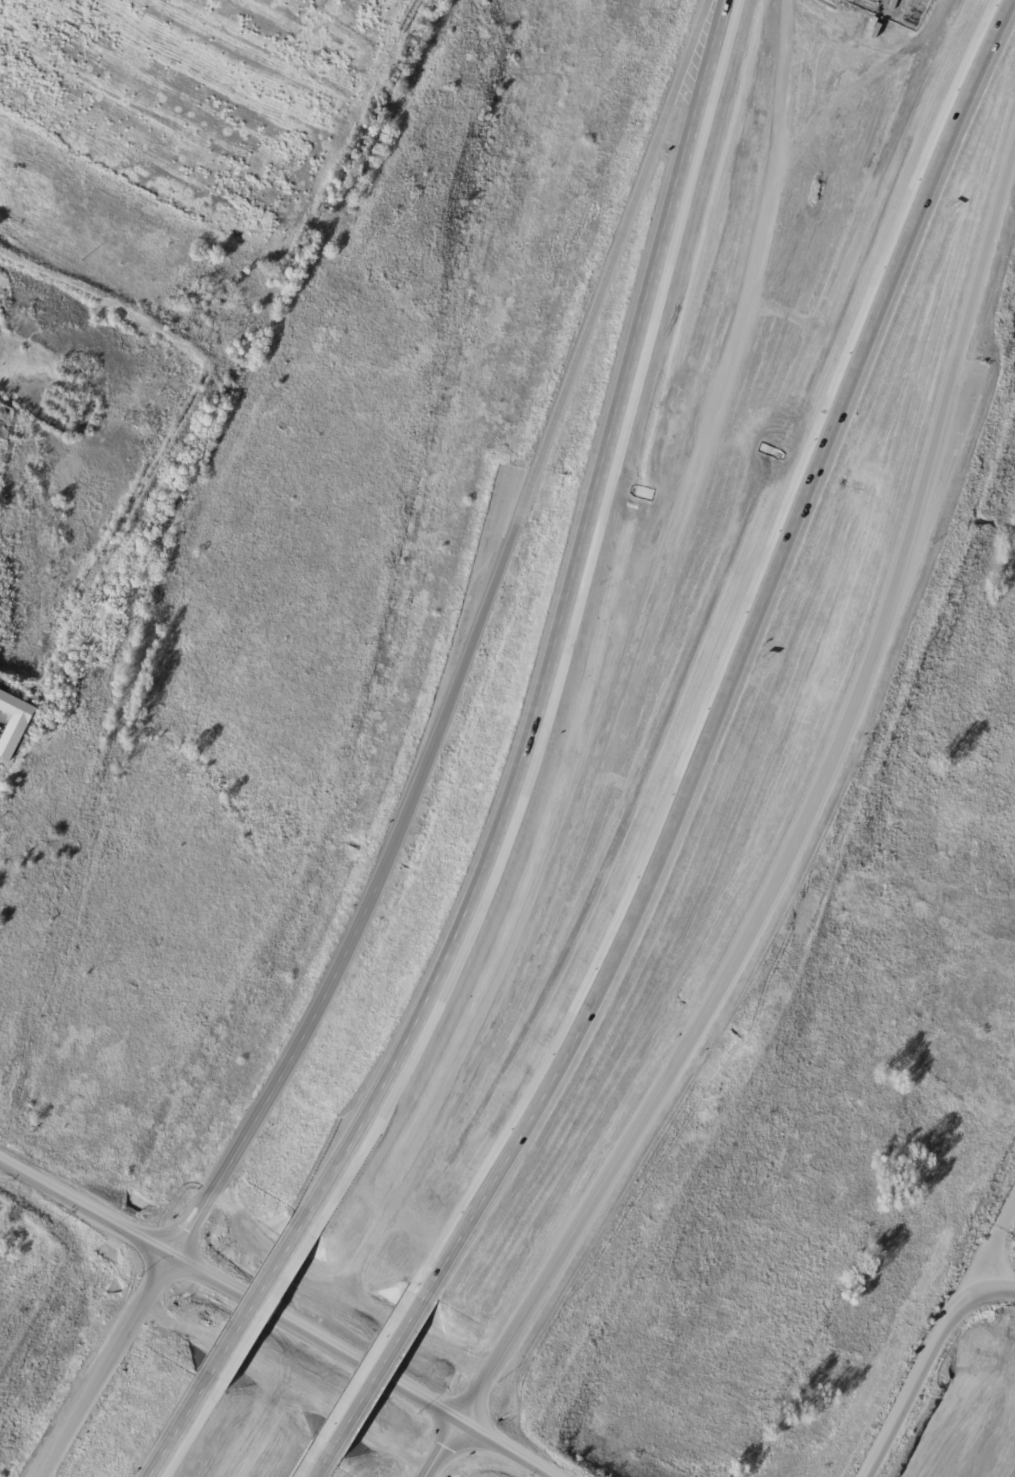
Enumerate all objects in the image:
road: (548, 434)
road: (942, 456)
road: (557, 629)
road: (742, 657)
building: (16, 724)
road: (286, 1062)
road: (661, 1087)
traffic signals: (177, 1251)
road: (167, 1266)
road: (235, 1279)
traffic signals: (158, 1282)
road: (257, 1300)
road: (229, 1308)
road: (942, 1339)
road: (379, 1367)
road: (278, 1369)
road: (99, 1379)
road: (525, 1389)
traffic signals: (467, 1408)
road: (459, 1420)
road: (178, 1425)
traffic signals: (451, 1433)
road: (524, 1442)
road: (438, 1455)
road: (487, 1455)
road: (322, 1461)

